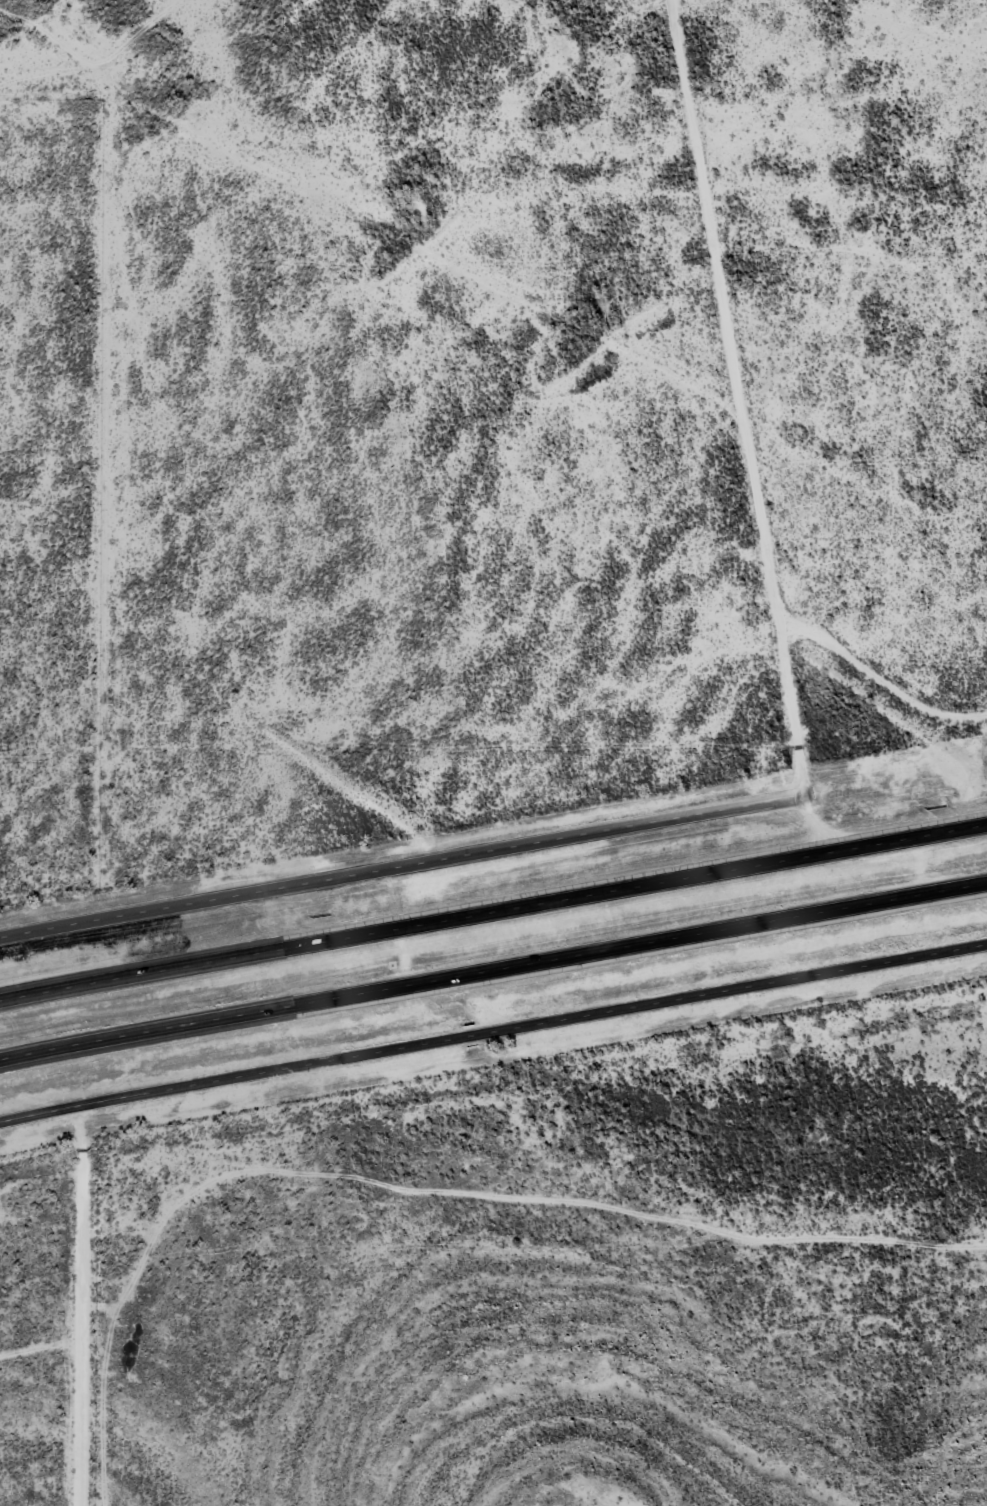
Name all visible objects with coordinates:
road: (171, 21)
road: (370, 210)
road: (750, 396)
road: (400, 864)
road: (493, 910)
road: (493, 977)
road: (493, 1032)

